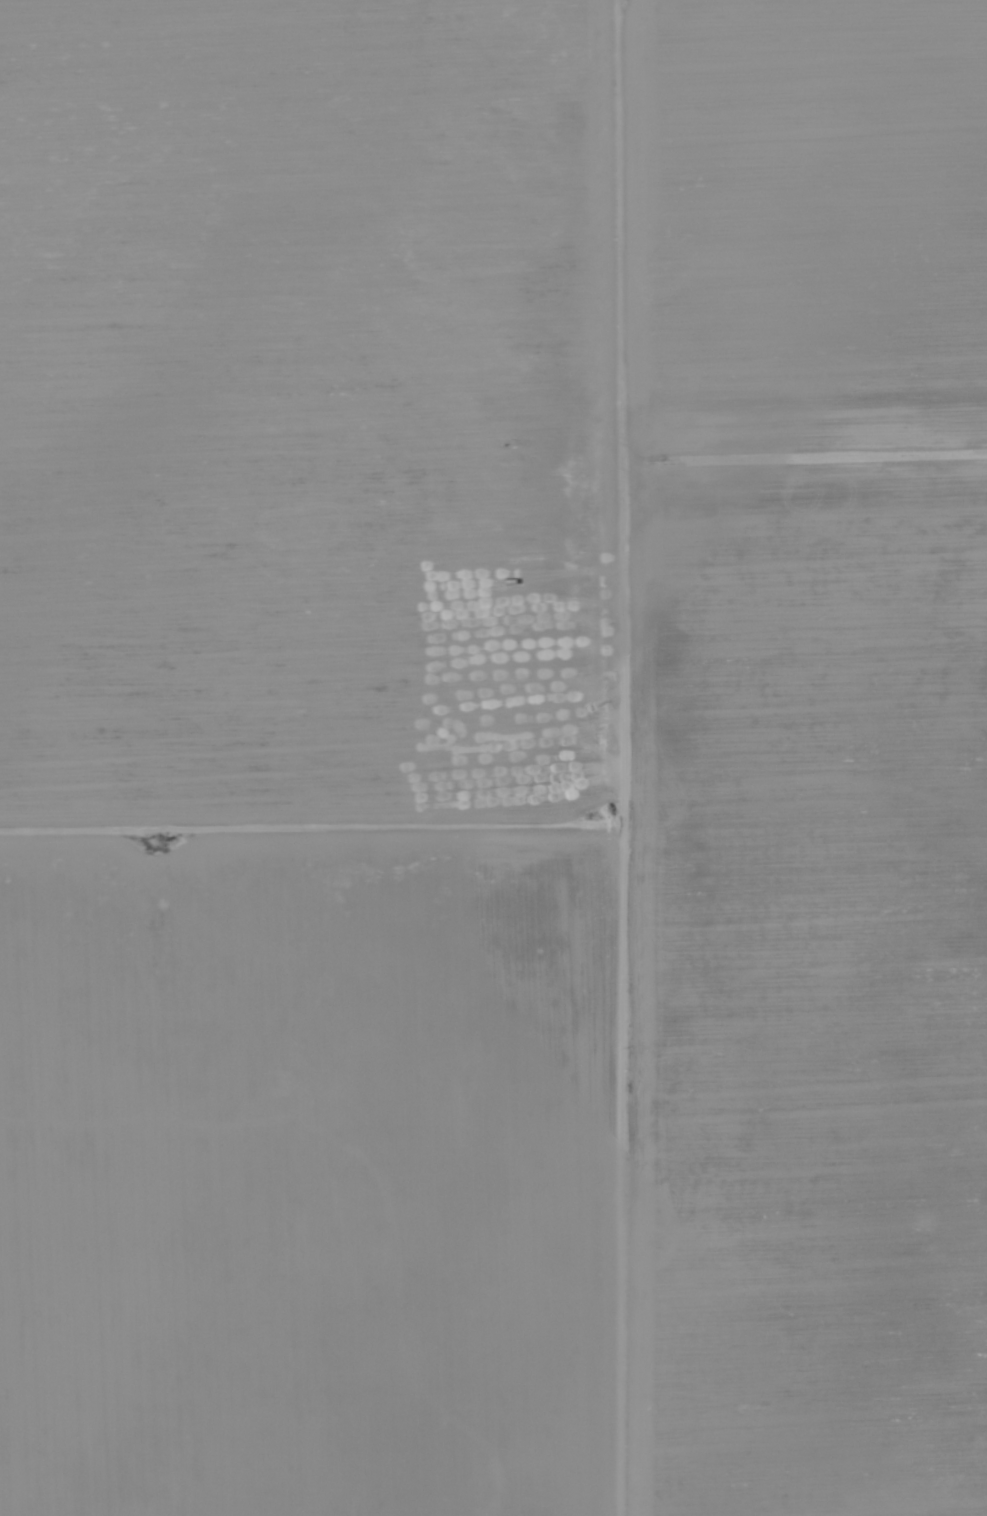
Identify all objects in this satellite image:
road: (306, 81)
road: (805, 488)
road: (613, 766)
road: (304, 879)

